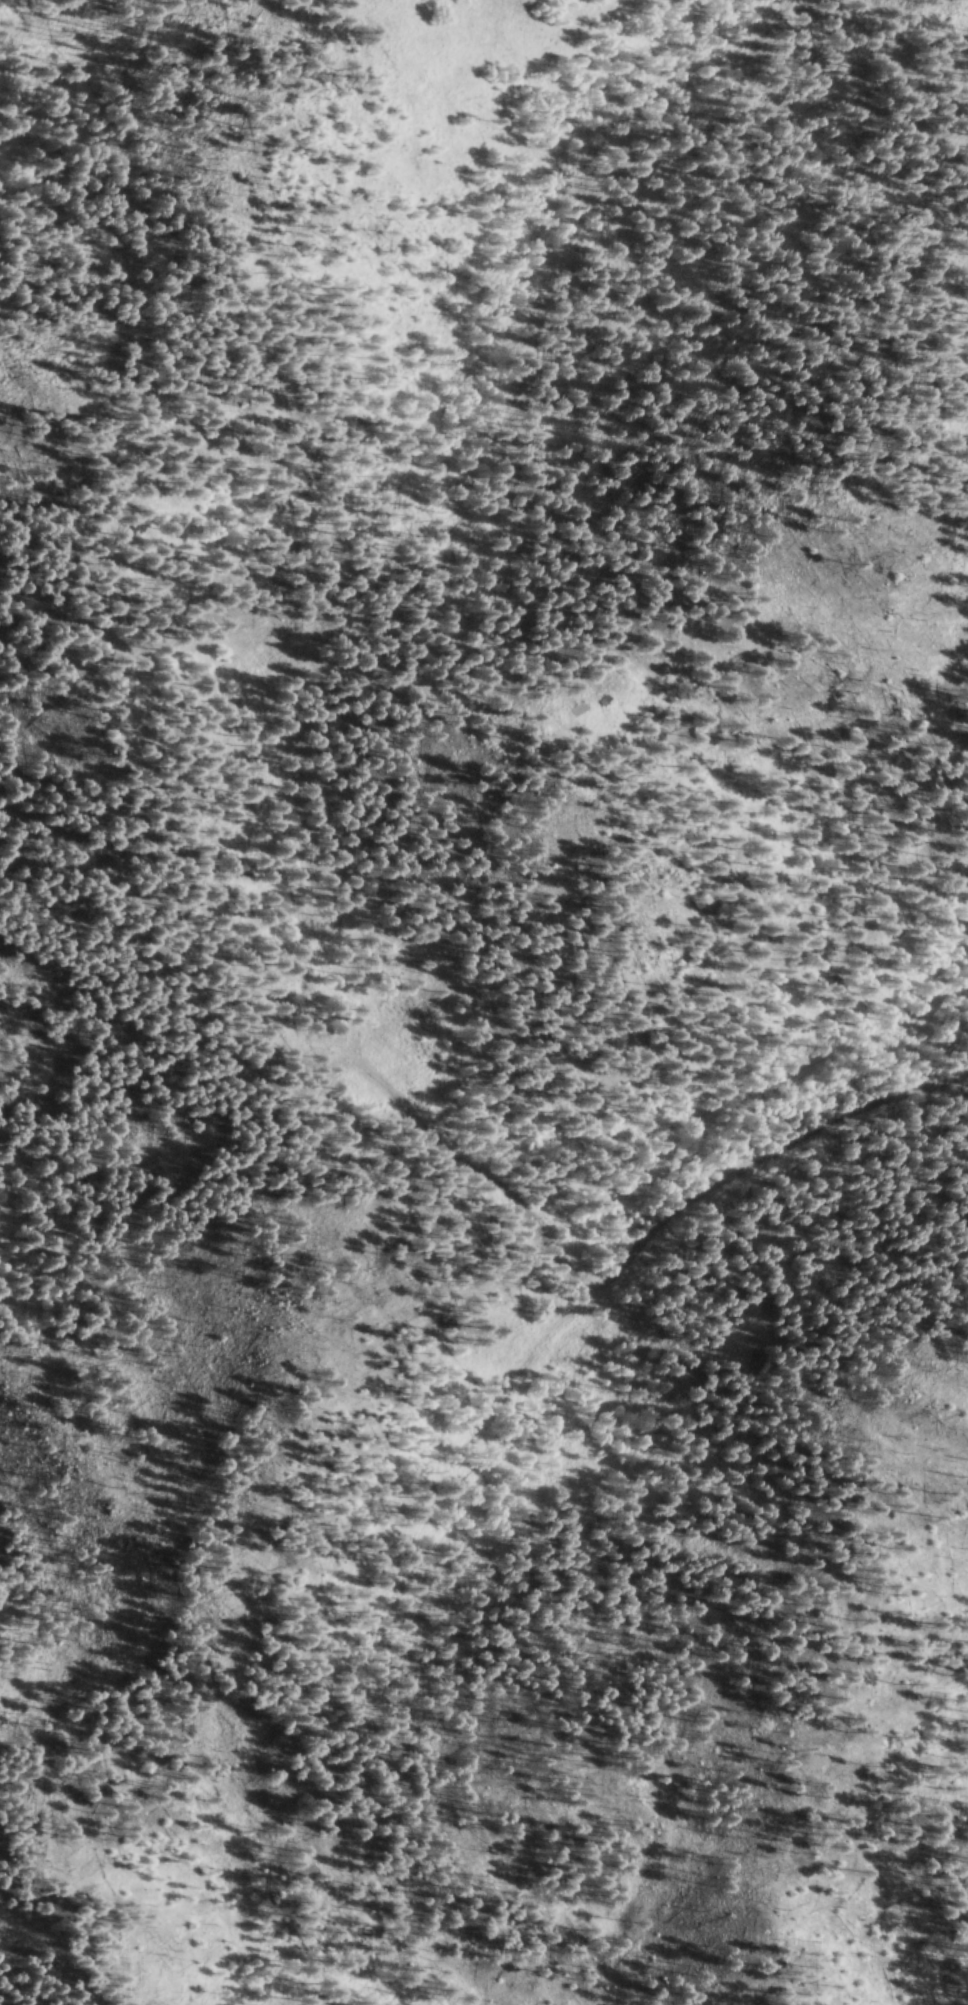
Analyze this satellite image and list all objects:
road: (596, 217)
building: (582, 716)
road: (626, 1264)

